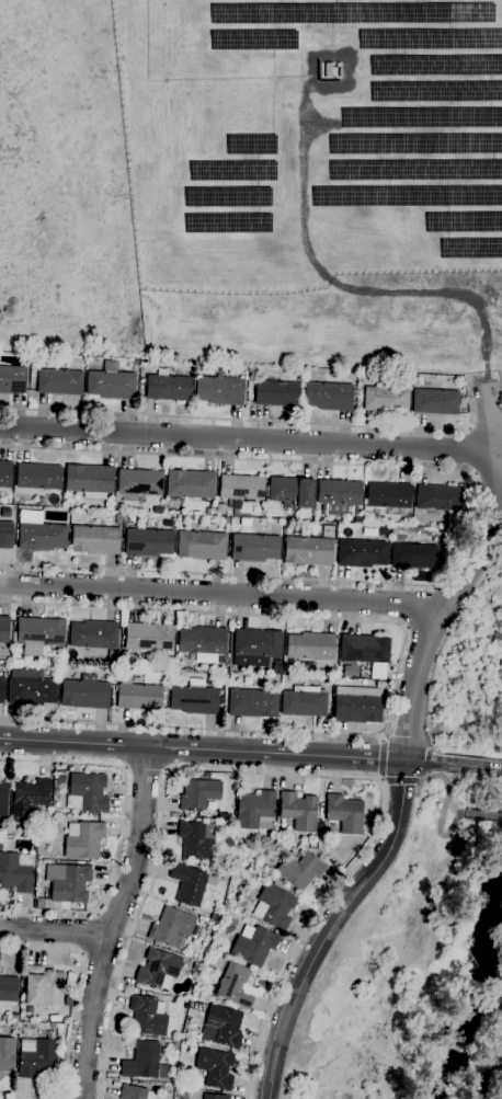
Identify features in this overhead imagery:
building: (349, 13)
building: (254, 38)
building: (431, 39)
building: (435, 65)
building: (435, 91)
building: (421, 118)
solar farm: (309, 140)
building: (414, 142)
building: (249, 145)
building: (231, 170)
building: (414, 170)
park: (253, 183)
building: (227, 196)
building: (406, 196)
building: (461, 221)
building: (225, 222)
road: (304, 232)
building: (469, 249)
building: (198, 367)
building: (252, 369)
building: (355, 377)
building: (12, 380)
building: (59, 382)
building: (110, 382)
building: (168, 388)
building: (219, 390)
building: (277, 393)
building: (328, 397)
building: (385, 398)
building: (435, 402)
road: (259, 421)
road: (247, 439)
road: (470, 451)
building: (5, 474)
building: (38, 477)
building: (89, 480)
building: (139, 482)
building: (191, 484)
building: (241, 488)
building: (290, 492)
building: (340, 496)
building: (389, 497)
building: (438, 499)
building: (237, 505)
building: (158, 510)
building: (208, 512)
building: (376, 514)
road: (469, 514)
building: (117, 518)
building: (226, 522)
building: (246, 523)
building: (381, 530)
building: (328, 531)
building: (38, 533)
building: (5, 535)
building: (94, 540)
building: (148, 542)
building: (201, 546)
building: (254, 548)
building: (309, 551)
building: (362, 553)
building: (413, 557)
road: (468, 576)
road: (220, 594)
road: (420, 607)
building: (3, 629)
building: (38, 634)
building: (93, 636)
building: (149, 638)
building: (203, 643)
building: (255, 646)
building: (310, 646)
building: (364, 650)
building: (181, 661)
building: (351, 671)
road: (396, 672)
building: (160, 673)
building: (364, 674)
building: (139, 679)
building: (324, 687)
building: (1, 688)
building: (31, 688)
building: (221, 688)
building: (84, 692)
building: (163, 694)
building: (138, 697)
building: (194, 698)
building: (304, 702)
building: (252, 703)
building: (357, 709)
road: (219, 751)
road: (383, 758)
road: (470, 767)
road: (145, 771)
building: (203, 775)
road: (282, 775)
building: (59, 778)
road: (399, 781)
building: (87, 793)
building: (198, 794)
building: (30, 797)
building: (3, 798)
building: (255, 811)
building: (298, 811)
road: (441, 812)
building: (344, 814)
building: (223, 816)
road: (483, 816)
road: (122, 828)
building: (12, 832)
building: (83, 840)
building: (198, 840)
building: (236, 840)
building: (0, 847)
building: (299, 869)
building: (15, 872)
building: (68, 882)
building: (191, 883)
building: (241, 885)
building: (42, 904)
building: (274, 905)
building: (194, 912)
building: (204, 914)
building: (202, 918)
road: (112, 921)
building: (171, 926)
road: (332, 926)
building: (195, 931)
road: (53, 932)
road: (87, 934)
building: (253, 946)
building: (210, 951)
park: (418, 961)
building: (195, 966)
building: (158, 970)
building: (231, 983)
building: (43, 987)
building: (8, 988)
building: (201, 993)
river: (476, 997)
building: (193, 998)
building: (67, 1001)
road: (72, 1015)
building: (147, 1016)
building: (14, 1017)
building: (14, 1024)
building: (53, 1027)
building: (223, 1027)
building: (173, 1046)
building: (7, 1054)
building: (37, 1057)
building: (142, 1061)
building: (215, 1068)
road: (498, 1079)
building: (166, 1089)
building: (135, 1094)
building: (181, 1096)
building: (215, 1097)

